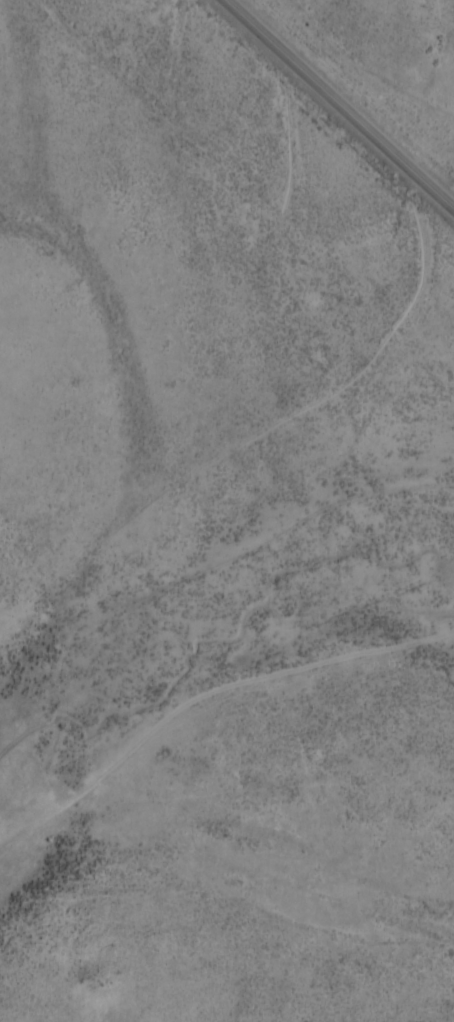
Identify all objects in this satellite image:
road: (341, 103)
river: (230, 599)

